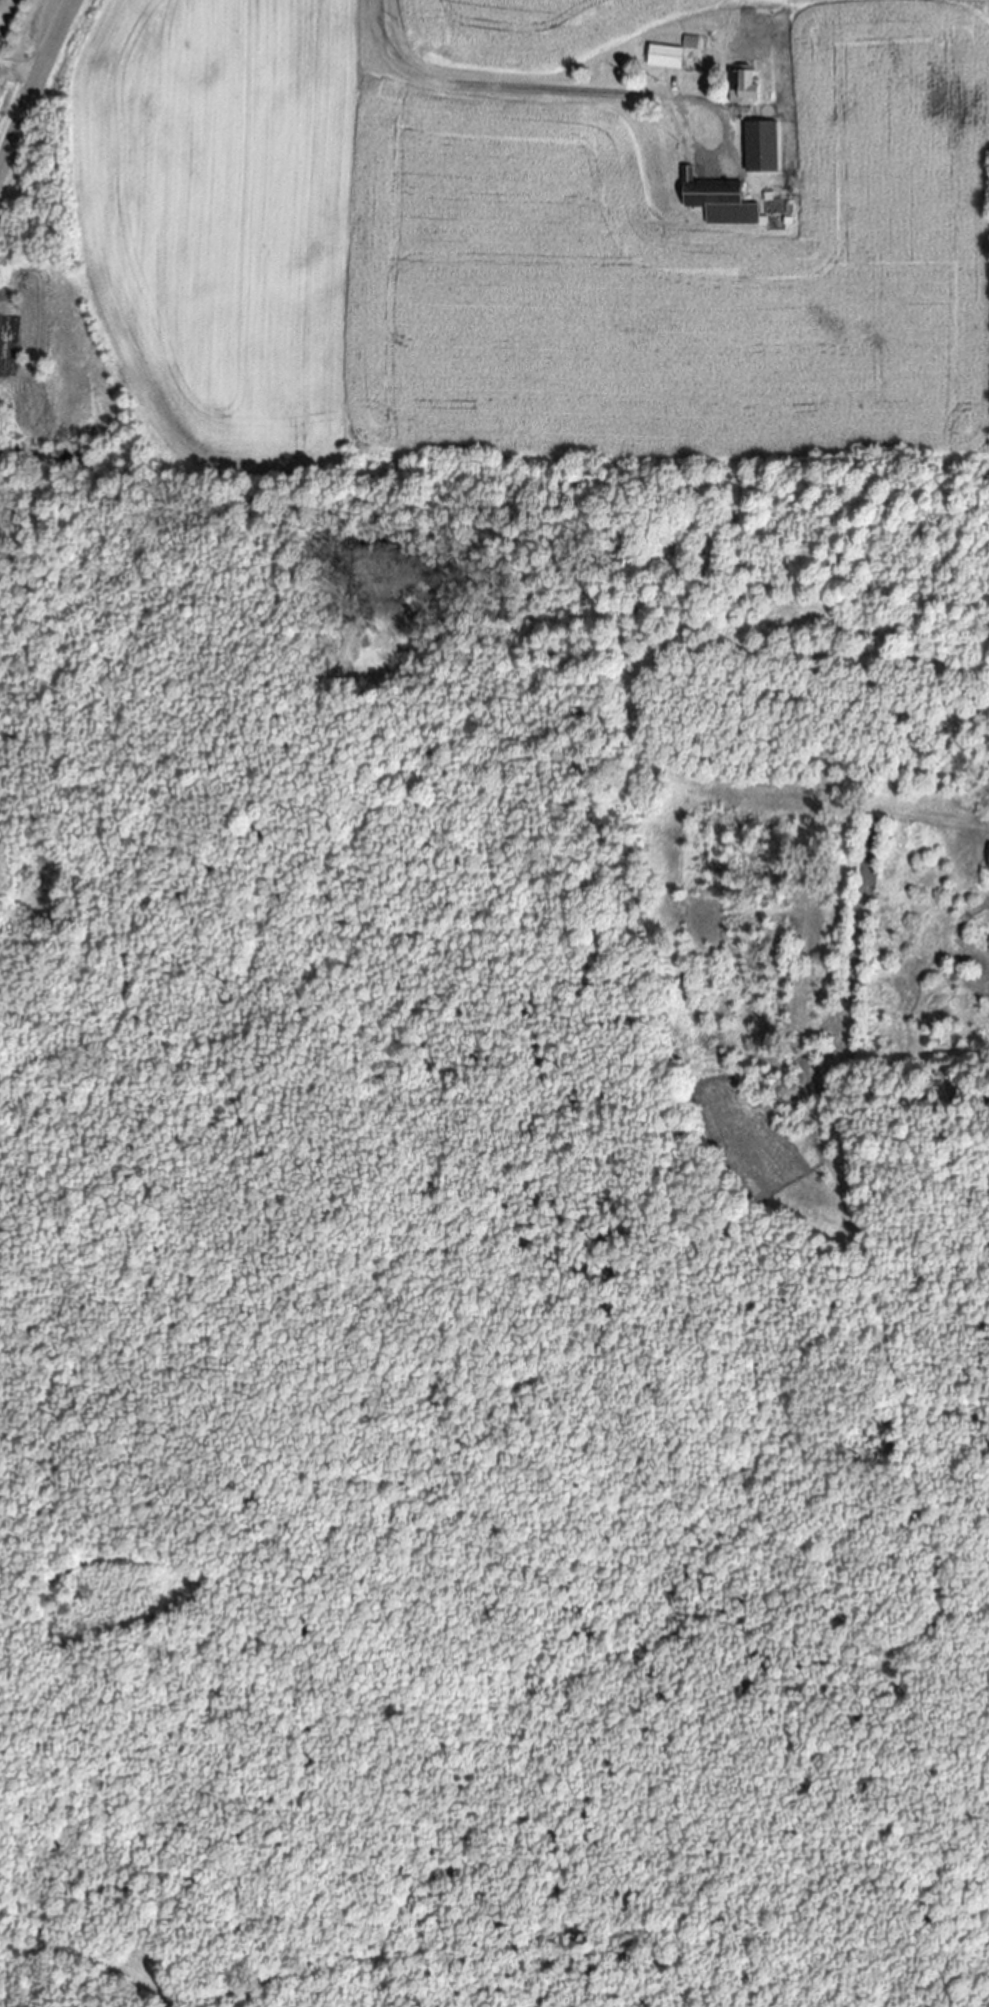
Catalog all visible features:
building: (688, 43)
building: (661, 58)
road: (19, 67)
road: (33, 82)
road: (495, 89)
building: (741, 90)
road: (725, 147)
building: (757, 148)
building: (714, 200)
building: (987, 859)

